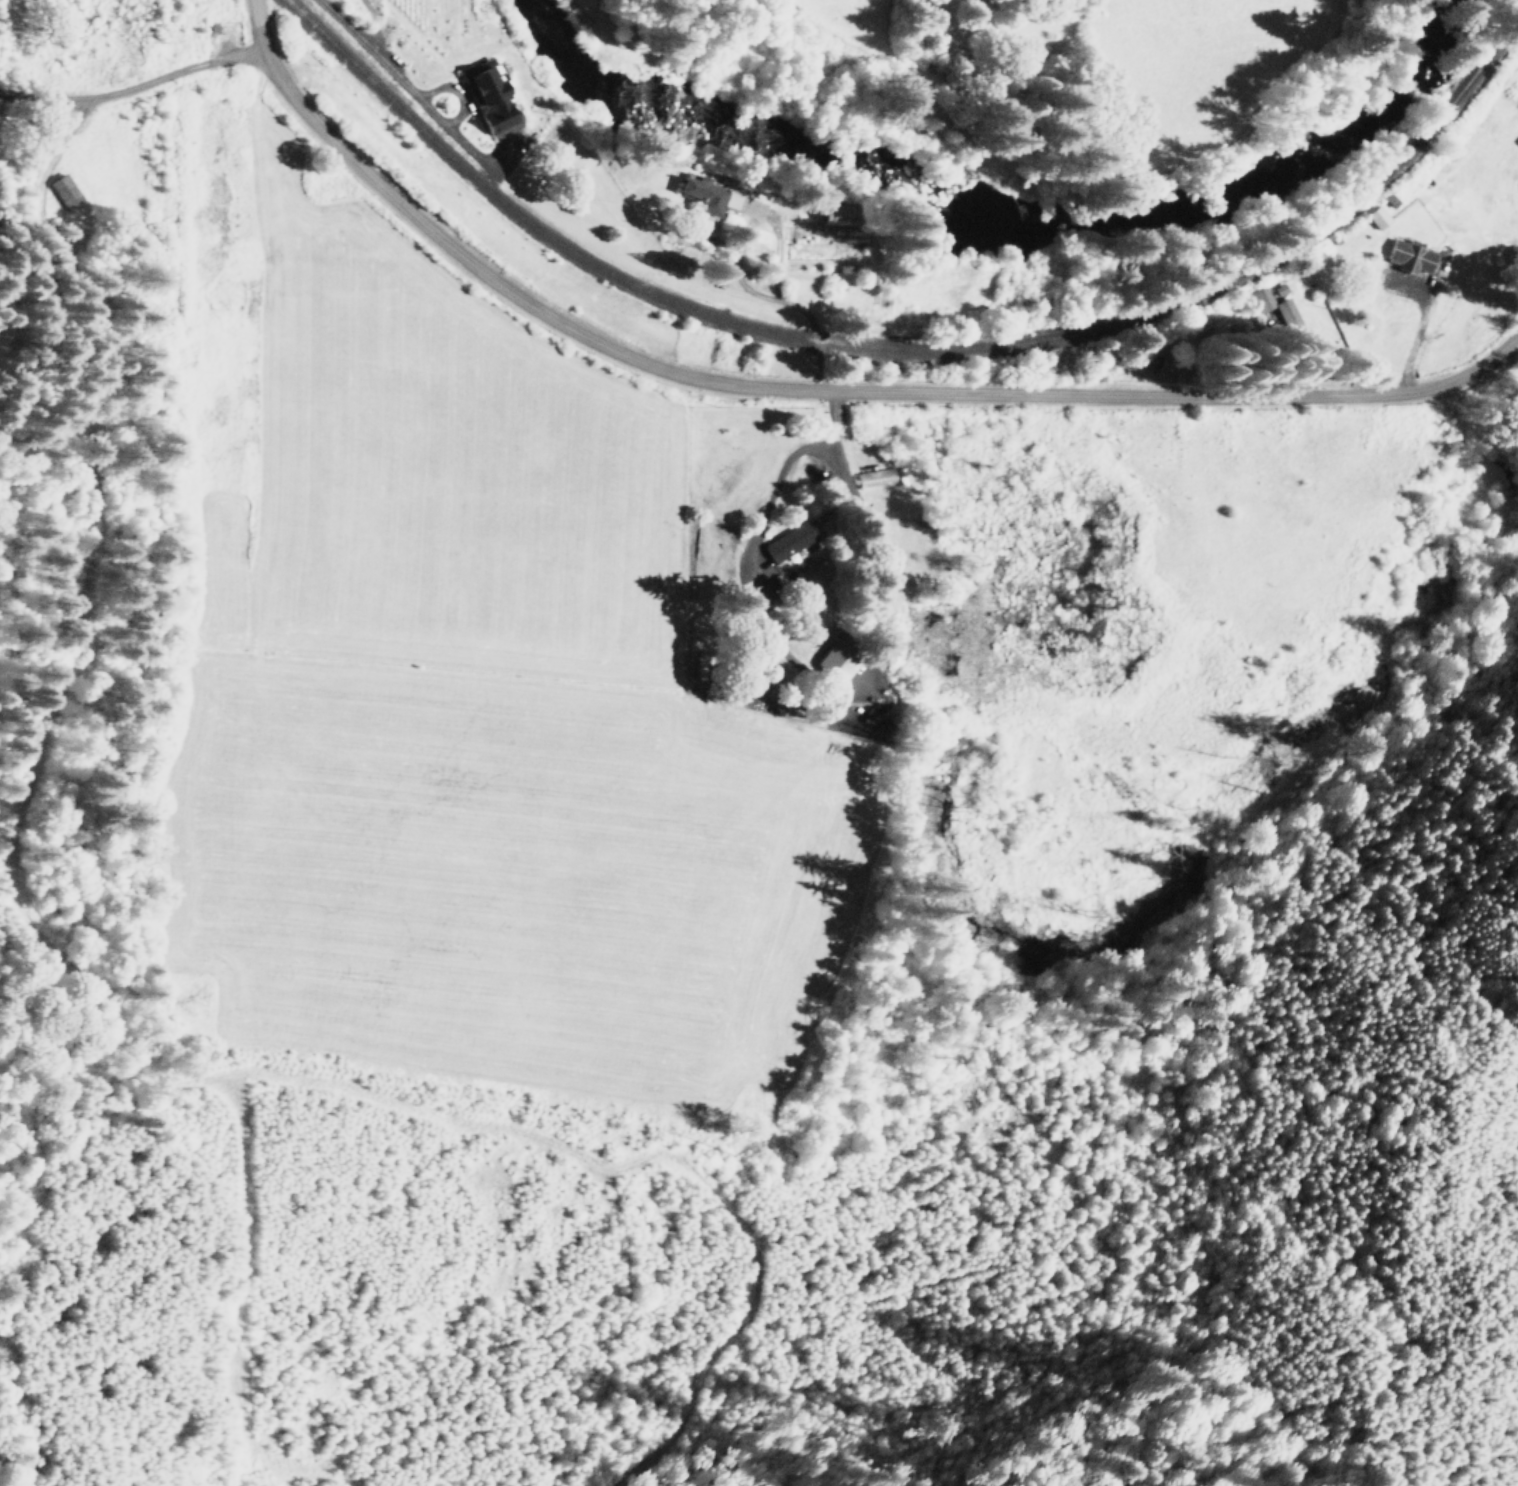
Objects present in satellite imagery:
road: (386, 72)
road: (123, 79)
building: (487, 98)
building: (64, 189)
building: (700, 195)
building: (732, 199)
building: (1377, 216)
river: (994, 221)
building: (1409, 255)
road: (738, 275)
building: (1276, 310)
road: (1418, 326)
railway: (905, 351)
road: (801, 392)
building: (875, 477)
building: (786, 542)
building: (836, 659)
road: (792, 661)
building: (697, 665)

